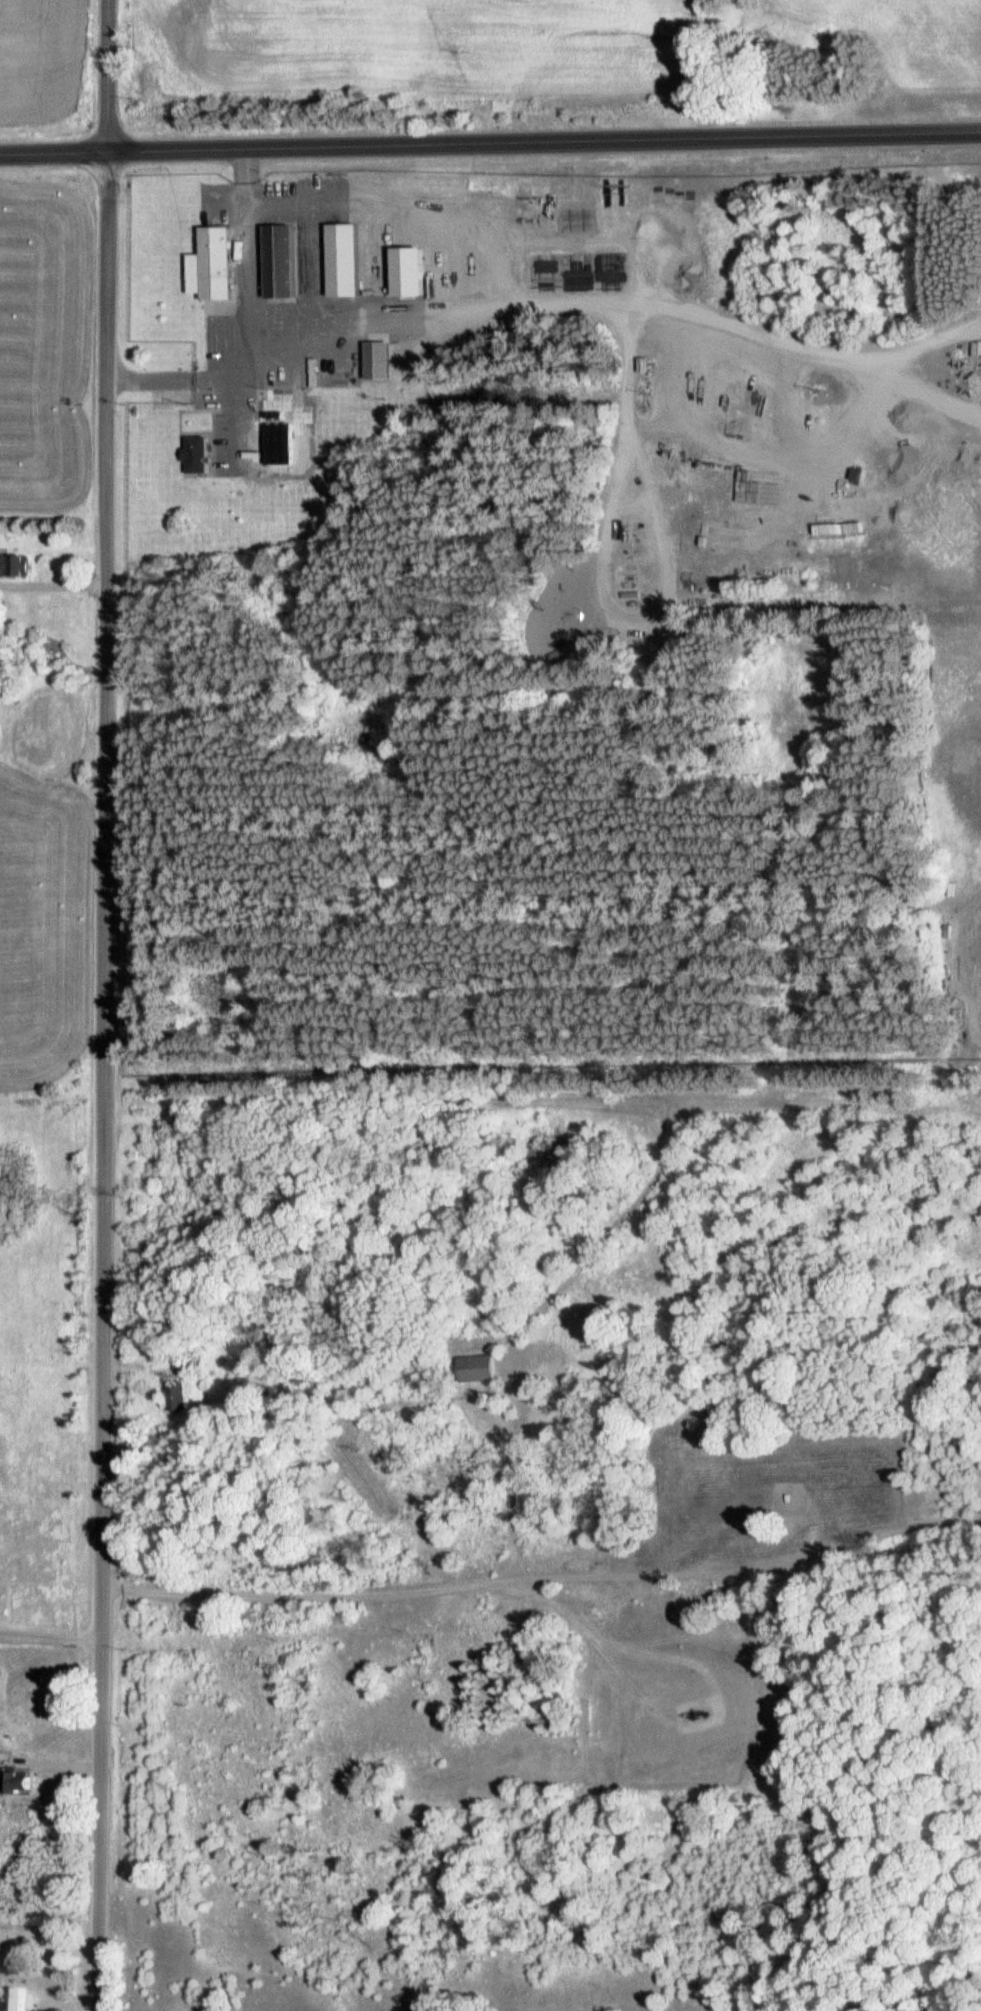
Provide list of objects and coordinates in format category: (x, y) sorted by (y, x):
road: (107, 75)
road: (543, 139)
road: (53, 152)
building: (346, 259)
building: (284, 260)
building: (220, 262)
building: (413, 271)
road: (453, 314)
road: (917, 336)
building: (380, 360)
road: (618, 362)
building: (643, 364)
road: (912, 392)
building: (202, 454)
building: (16, 564)
road: (97, 1081)
building: (481, 1367)
building: (180, 1395)
road: (51, 1634)
building: (19, 1779)
building: (11, 1998)

